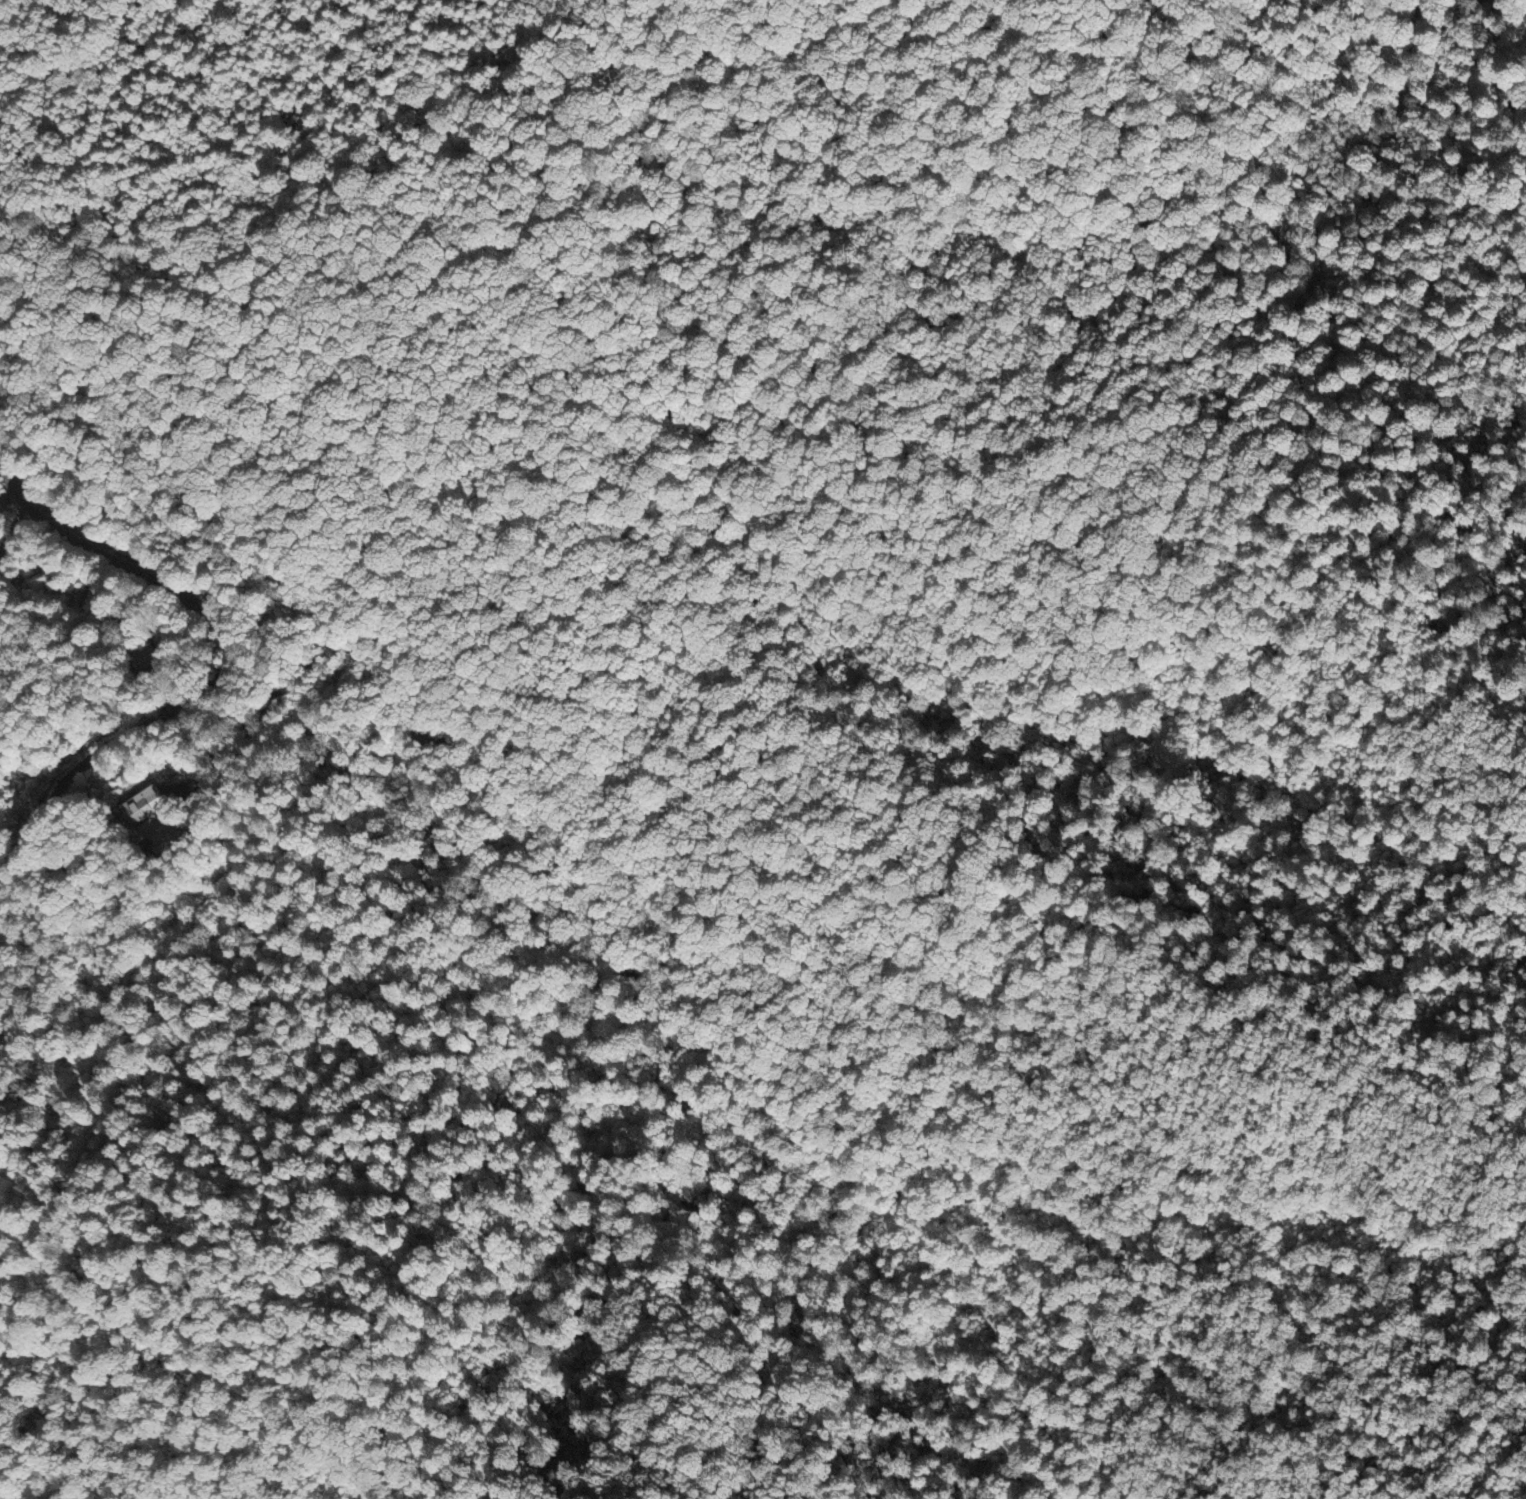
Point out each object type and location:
road: (26, 13)
road: (11, 482)
road: (13, 526)
road: (197, 697)

